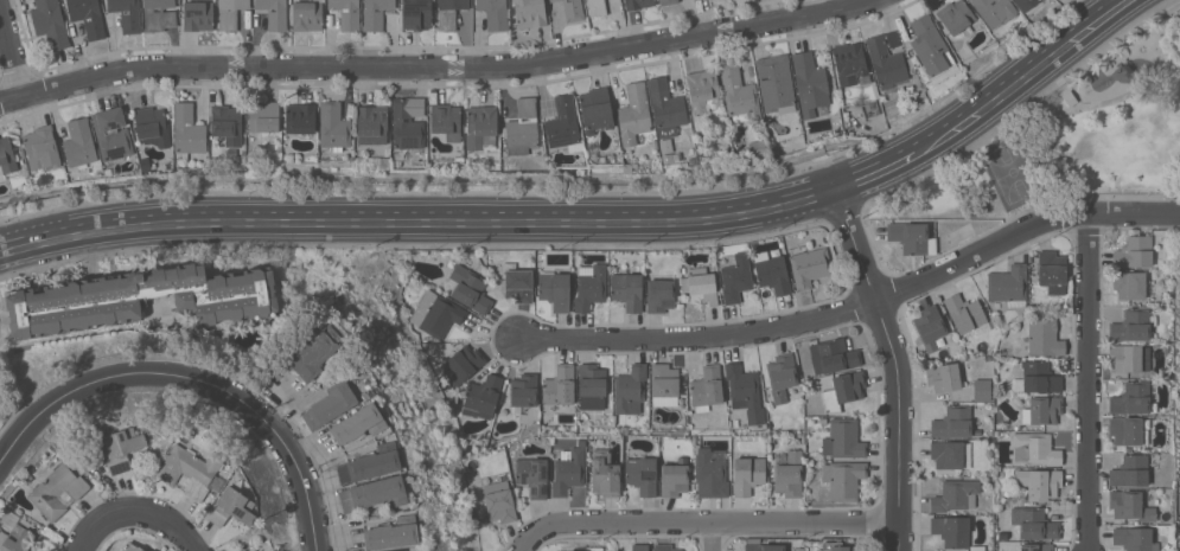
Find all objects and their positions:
building: (553, 0)
building: (666, 1)
building: (637, 4)
building: (1025, 4)
building: (597, 7)
building: (573, 9)
building: (994, 11)
building: (449, 12)
building: (230, 13)
building: (274, 13)
building: (346, 13)
building: (375, 13)
building: (495, 13)
building: (530, 13)
building: (127, 14)
building: (159, 14)
building: (307, 14)
building: (416, 14)
building: (198, 15)
building: (88, 17)
building: (957, 17)
building: (50, 23)
road: (1133, 24)
road: (12, 47)
building: (932, 49)
building: (887, 60)
building: (849, 62)
road: (439, 66)
building: (865, 79)
building: (776, 83)
building: (810, 83)
building: (702, 90)
building: (739, 92)
building: (665, 107)
building: (595, 109)
building: (823, 110)
building: (634, 114)
building: (263, 116)
road: (1052, 117)
building: (300, 118)
building: (446, 121)
building: (408, 122)
road: (1029, 122)
building: (227, 123)
building: (372, 124)
building: (563, 124)
building: (152, 126)
building: (333, 126)
building: (479, 126)
building: (522, 128)
building: (187, 130)
building: (111, 133)
park: (1072, 140)
building: (79, 143)
building: (665, 145)
building: (42, 148)
building: (757, 149)
building: (595, 153)
building: (702, 155)
building: (6, 158)
building: (671, 158)
building: (691, 161)
park: (1015, 173)
road: (898, 188)
road: (592, 219)
building: (912, 237)
building: (1134, 252)
building: (808, 264)
building: (772, 271)
building: (1051, 271)
building: (736, 277)
building: (517, 283)
building: (1131, 284)
building: (589, 286)
building: (1008, 286)
building: (700, 287)
building: (470, 288)
building: (555, 290)
building: (627, 290)
building: (659, 291)
building: (141, 299)
building: (1070, 300)
road: (856, 307)
building: (435, 314)
building: (967, 315)
building: (1133, 325)
building: (930, 326)
building: (1042, 337)
building: (315, 353)
building: (833, 355)
building: (1125, 358)
road: (900, 364)
building: (463, 365)
road: (114, 371)
building: (782, 376)
building: (943, 377)
building: (1035, 378)
building: (664, 380)
road: (1091, 382)
building: (559, 385)
building: (592, 386)
building: (706, 389)
building: (523, 390)
building: (630, 390)
building: (843, 390)
building: (982, 390)
building: (745, 392)
building: (483, 395)
building: (365, 396)
building: (1131, 398)
building: (330, 404)
building: (1042, 410)
building: (608, 418)
building: (823, 419)
building: (952, 422)
building: (358, 423)
building: (1128, 430)
building: (189, 433)
building: (796, 437)
building: (843, 438)
building: (122, 448)
building: (1035, 449)
building: (950, 454)
building: (371, 464)
road: (304, 469)
building: (192, 470)
building: (568, 470)
building: (1130, 472)
building: (604, 473)
building: (712, 473)
building: (789, 473)
building: (747, 474)
building: (640, 475)
building: (532, 476)
building: (672, 479)
building: (843, 479)
building: (1040, 483)
building: (57, 491)
building: (374, 493)
building: (956, 494)
building: (498, 501)
building: (1130, 505)
building: (232, 507)
building: (6, 511)
road: (140, 512)
building: (21, 520)
building: (1033, 523)
road: (708, 525)
building: (951, 530)
building: (391, 533)
building: (14, 536)
road: (714, 538)
building: (1134, 538)
building: (753, 540)
building: (130, 546)
building: (639, 546)
building: (837, 546)
building: (1035, 546)
building: (664, 547)
building: (765, 547)
building: (977, 547)
building: (241, 550)
building: (254, 550)
building: (398, 550)

